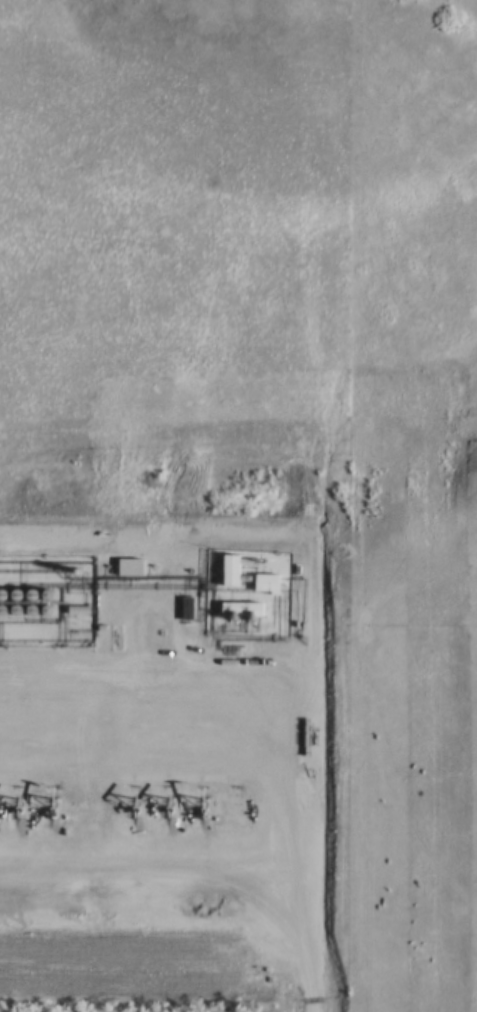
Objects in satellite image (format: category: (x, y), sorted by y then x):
road: (404, 590)
road: (365, 828)
quarry: (44, 839)

